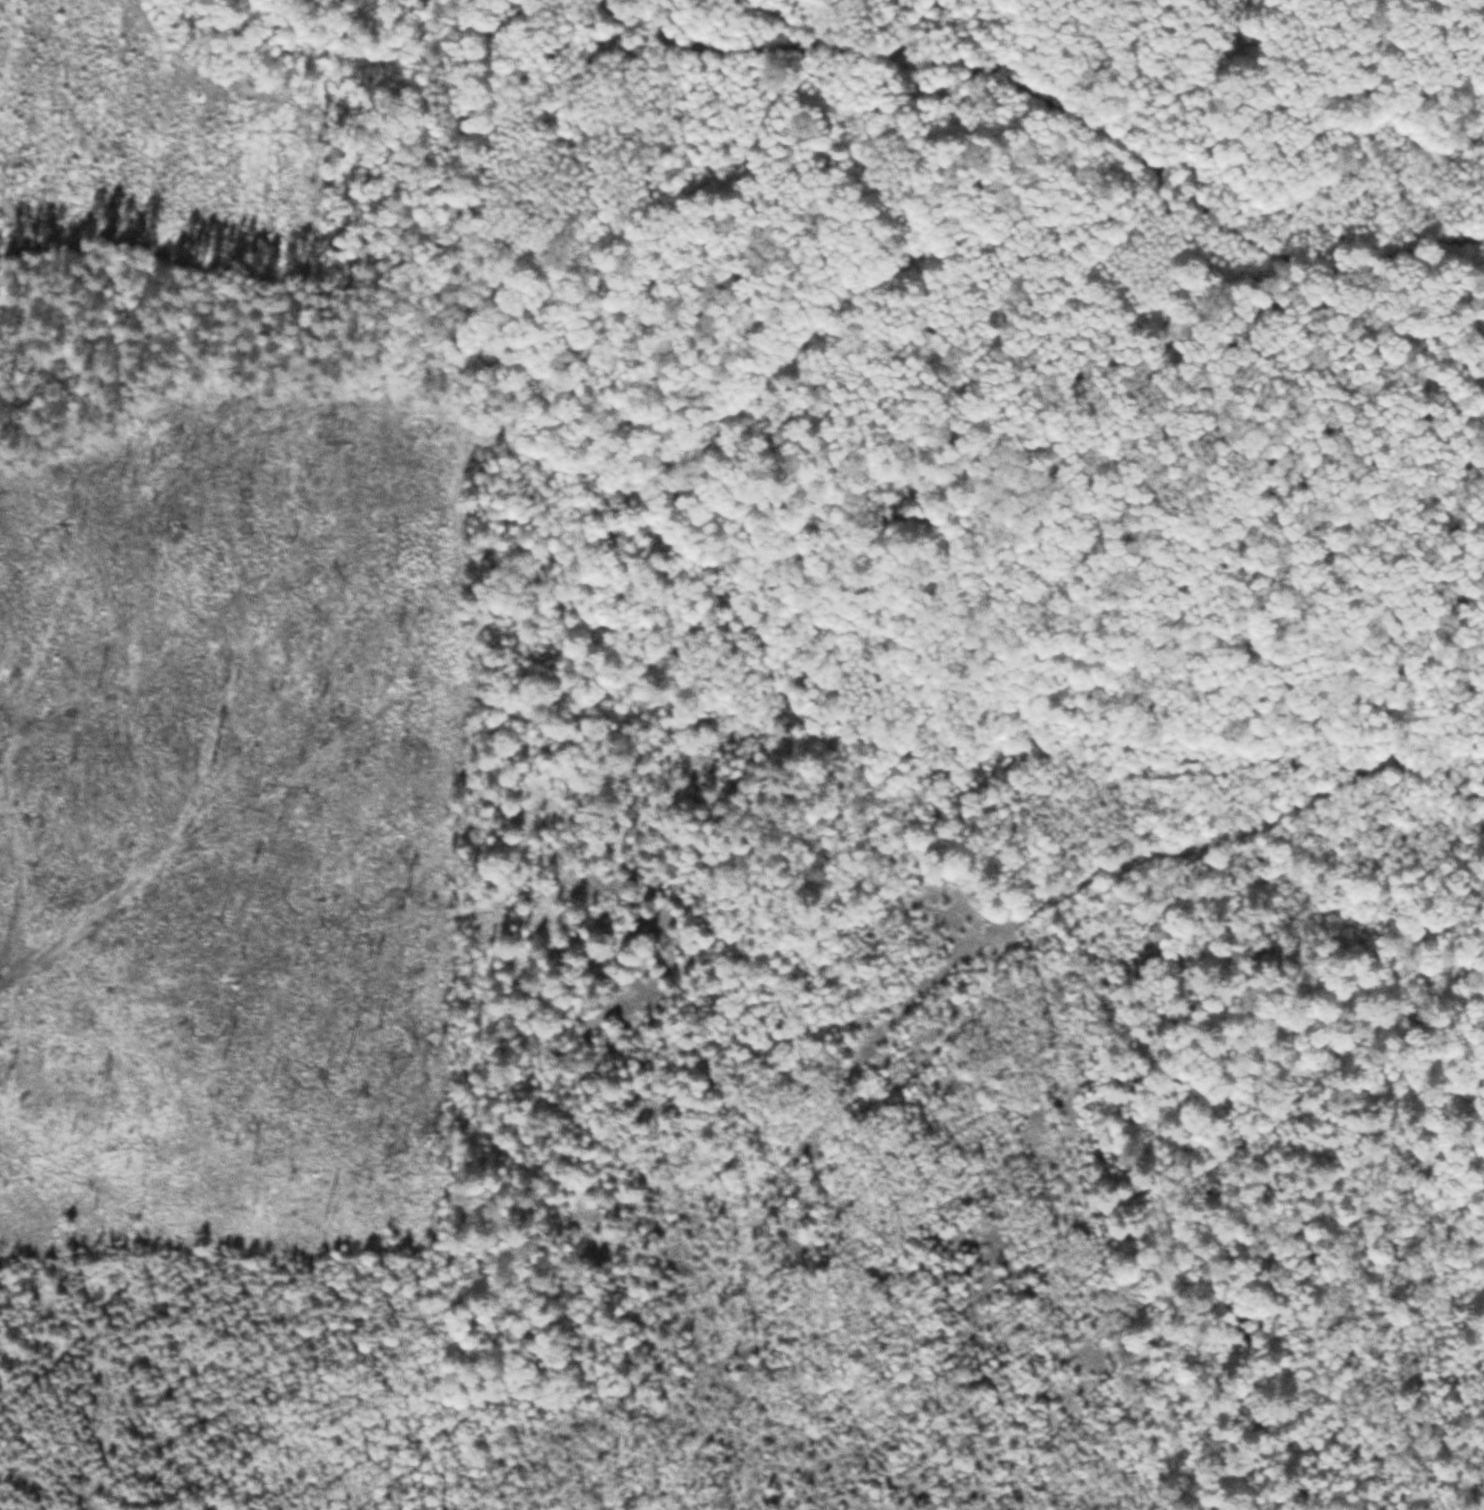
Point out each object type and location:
road: (460, 758)

